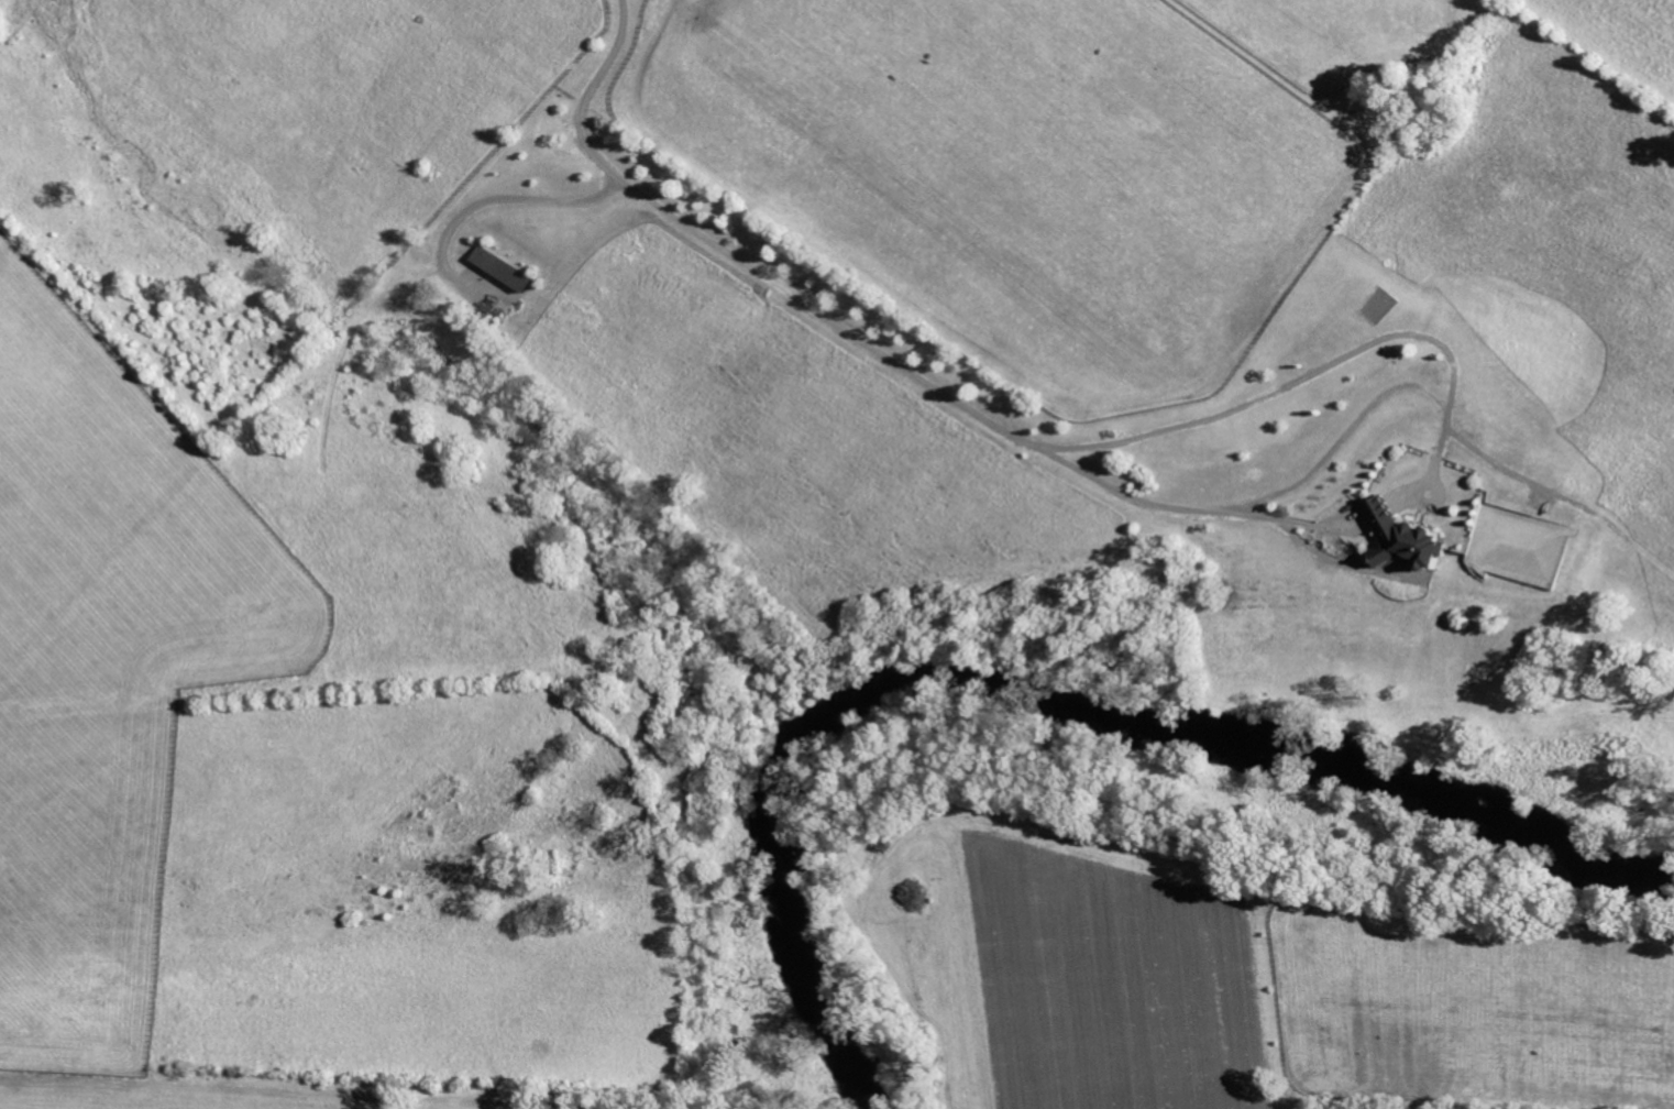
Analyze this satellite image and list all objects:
road: (499, 200)
building: (503, 270)
road: (987, 421)
road: (1194, 512)
building: (1411, 540)

